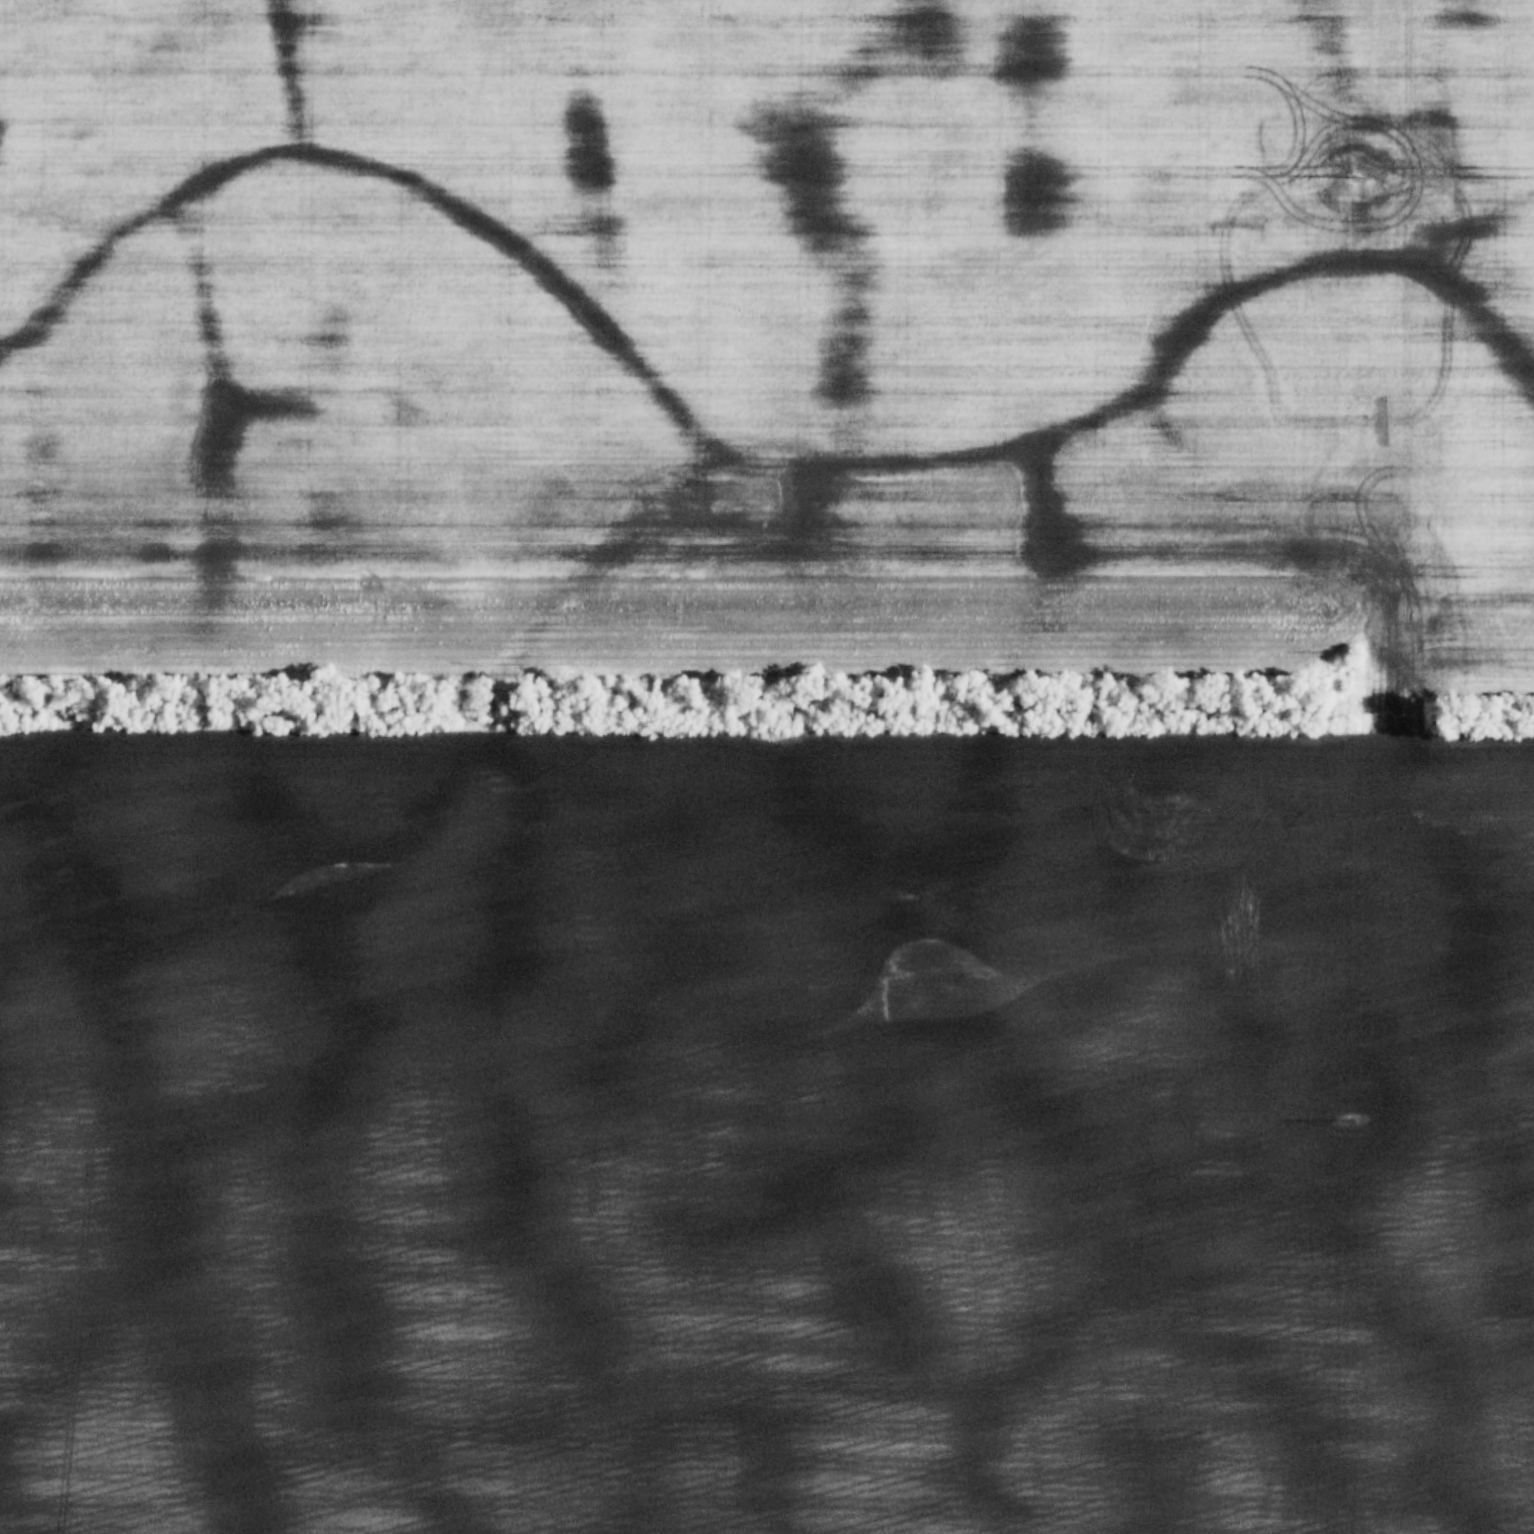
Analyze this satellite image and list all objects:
power tower: (1350, 176)
power tower: (1347, 651)
power tower: (1339, 1121)

